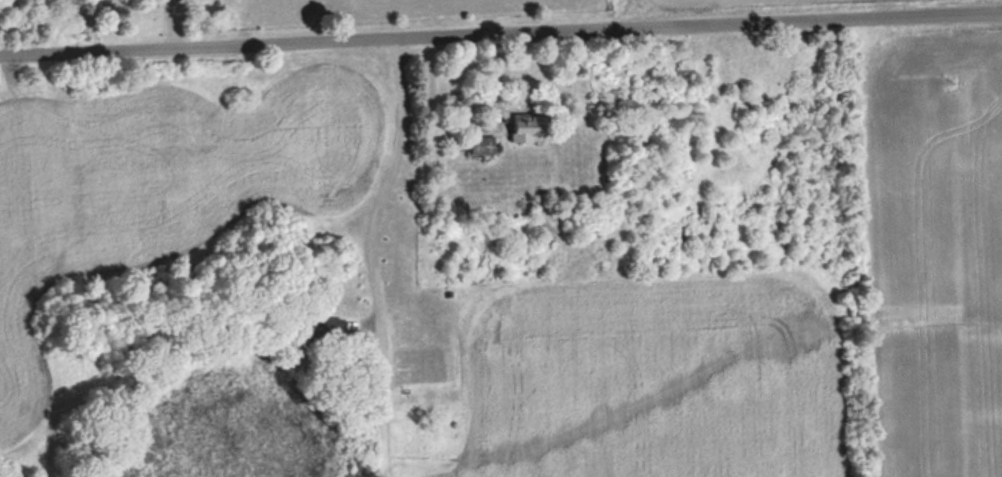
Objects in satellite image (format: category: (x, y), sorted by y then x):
road: (501, 32)
building: (525, 127)
building: (482, 145)
building: (321, 329)

